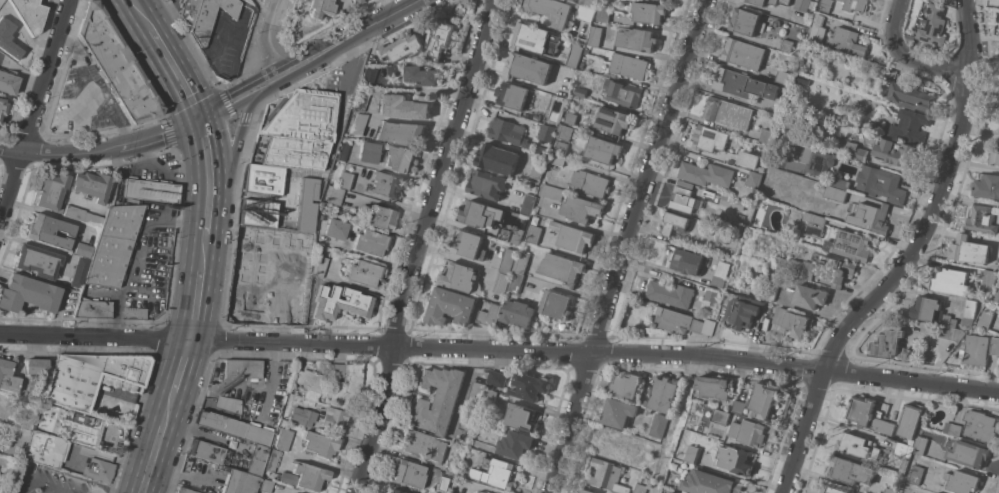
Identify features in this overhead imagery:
building: (1, 1)
building: (357, 1)
building: (769, 2)
building: (997, 2)
building: (588, 3)
building: (343, 4)
building: (855, 4)
building: (802, 5)
building: (825, 5)
building: (320, 9)
building: (552, 10)
building: (649, 11)
building: (189, 12)
building: (604, 12)
building: (585, 13)
building: (30, 14)
road: (141, 16)
building: (746, 21)
building: (776, 22)
building: (214, 23)
building: (934, 24)
road: (376, 26)
building: (817, 27)
road: (273, 34)
building: (595, 35)
building: (441, 38)
building: (536, 38)
building: (8, 39)
building: (638, 39)
building: (846, 41)
building: (807, 43)
building: (786, 45)
building: (401, 47)
building: (585, 52)
building: (743, 53)
building: (574, 56)
road: (908, 58)
building: (117, 64)
building: (630, 65)
building: (527, 67)
building: (394, 71)
building: (422, 74)
road: (176, 76)
road: (291, 77)
building: (784, 77)
road: (258, 79)
building: (802, 80)
building: (8, 82)
building: (742, 84)
building: (364, 89)
building: (581, 91)
building: (622, 92)
building: (512, 95)
building: (912, 96)
building: (768, 104)
building: (404, 105)
building: (2, 107)
road: (35, 111)
road: (227, 111)
building: (727, 112)
building: (537, 116)
building: (304, 117)
building: (571, 118)
building: (613, 119)
traffic signals: (200, 121)
building: (871, 124)
building: (358, 125)
building: (911, 125)
building: (506, 130)
building: (401, 132)
building: (546, 132)
building: (564, 132)
building: (766, 135)
building: (709, 138)
building: (840, 145)
building: (560, 147)
building: (603, 149)
road: (102, 151)
building: (342, 151)
building: (897, 152)
building: (295, 153)
building: (368, 153)
building: (862, 154)
building: (994, 154)
building: (400, 158)
building: (498, 158)
building: (748, 158)
building: (557, 159)
building: (817, 160)
building: (538, 166)
building: (705, 173)
road: (227, 174)
road: (647, 174)
building: (264, 179)
building: (753, 179)
building: (345, 180)
building: (591, 183)
building: (842, 183)
building: (882, 183)
building: (387, 184)
building: (487, 184)
building: (92, 185)
road: (209, 185)
building: (315, 185)
building: (987, 186)
building: (52, 191)
building: (150, 191)
building: (551, 191)
building: (837, 193)
building: (711, 194)
building: (334, 195)
building: (685, 198)
building: (732, 201)
building: (528, 204)
building: (581, 209)
building: (310, 211)
building: (258, 213)
building: (480, 214)
building: (83, 216)
building: (381, 217)
building: (874, 217)
building: (982, 218)
building: (534, 219)
building: (674, 222)
building: (817, 226)
building: (335, 229)
building: (49, 231)
building: (533, 233)
building: (511, 234)
building: (723, 234)
building: (572, 236)
building: (370, 243)
building: (465, 243)
building: (114, 245)
road: (423, 245)
building: (851, 245)
building: (970, 249)
building: (83, 250)
building: (253, 256)
building: (508, 260)
road: (910, 260)
building: (38, 261)
building: (687, 261)
building: (521, 262)
building: (319, 266)
building: (562, 268)
building: (821, 269)
building: (80, 272)
building: (364, 273)
building: (720, 273)
building: (459, 276)
building: (515, 280)
building: (989, 280)
building: (951, 281)
building: (502, 283)
building: (772, 291)
building: (670, 293)
building: (28, 294)
building: (997, 295)
road: (198, 296)
building: (810, 296)
building: (711, 298)
building: (340, 303)
building: (248, 304)
building: (556, 304)
building: (451, 306)
building: (93, 309)
building: (927, 309)
building: (742, 310)
building: (696, 311)
building: (969, 311)
building: (518, 312)
building: (134, 314)
building: (489, 315)
building: (986, 319)
building: (677, 320)
building: (946, 320)
building: (793, 321)
building: (951, 332)
building: (888, 342)
building: (994, 345)
road: (500, 349)
building: (975, 350)
building: (998, 364)
building: (290, 365)
building: (36, 367)
building: (242, 369)
road: (179, 372)
building: (8, 377)
building: (90, 377)
building: (496, 379)
building: (308, 380)
building: (345, 383)
building: (626, 384)
building: (530, 385)
building: (715, 387)
building: (476, 391)
building: (663, 394)
building: (489, 397)
building: (437, 399)
building: (764, 399)
building: (219, 402)
building: (740, 406)
building: (862, 409)
building: (618, 412)
building: (722, 416)
building: (522, 417)
building: (50, 418)
building: (333, 419)
building: (910, 419)
building: (305, 420)
building: (468, 420)
road: (569, 422)
building: (660, 424)
road: (675, 424)
building: (883, 425)
building: (981, 425)
building: (234, 428)
building: (953, 428)
building: (84, 429)
building: (749, 432)
building: (283, 439)
building: (319, 444)
building: (515, 444)
building: (920, 444)
building: (424, 445)
building: (859, 445)
road: (156, 448)
building: (46, 449)
building: (904, 449)
building: (968, 453)
building: (694, 454)
building: (231, 456)
building: (736, 459)
building: (271, 460)
building: (903, 465)
building: (99, 470)
building: (852, 470)
building: (452, 472)
building: (409, 473)
building: (498, 473)
building: (916, 474)
building: (608, 475)
building: (305, 476)
building: (238, 480)
building: (962, 481)
parking lot: (50, 482)
road: (41, 483)
building: (712, 483)
building: (265, 486)
building: (640, 488)
building: (833, 489)
building: (186, 490)
building: (889, 490)
building: (396, 491)
building: (587, 491)
building: (483, 492)
building: (505, 492)
building: (596, 492)
building: (670, 492)
building: (673, 492)

